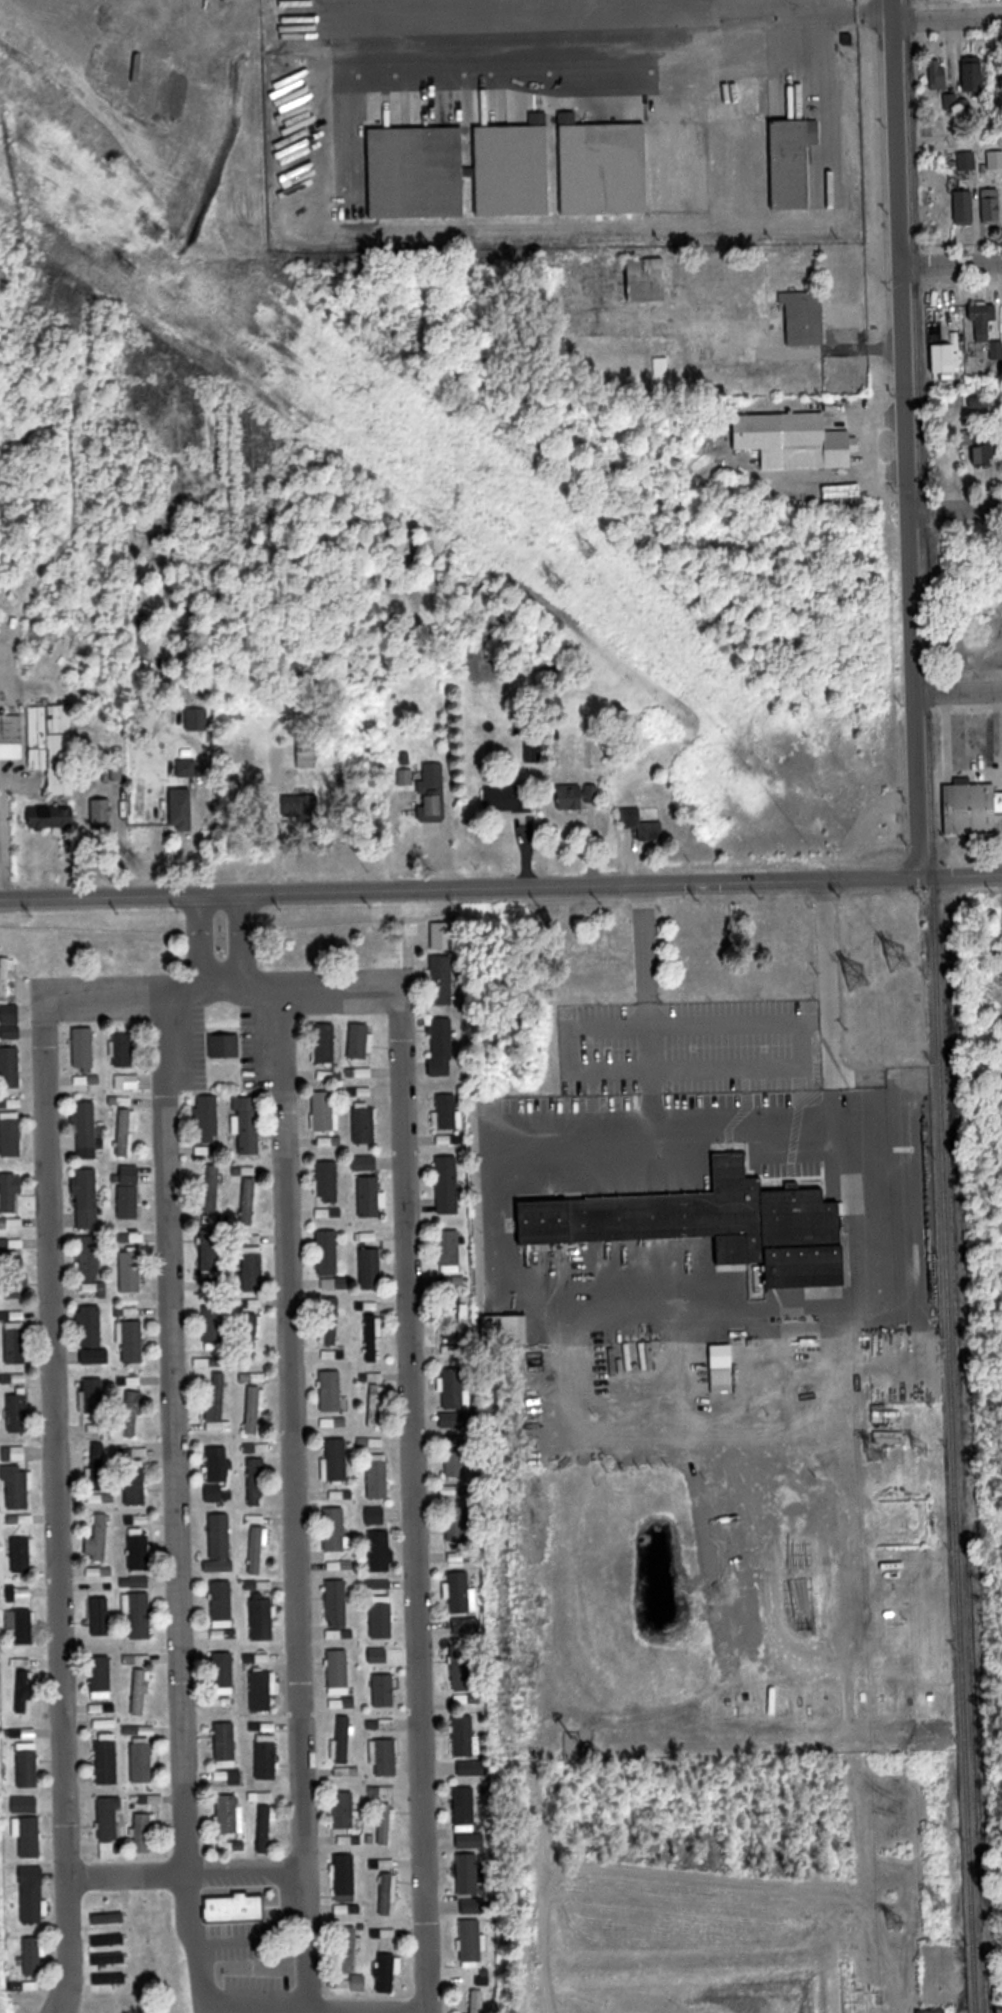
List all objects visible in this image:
road: (334, 8)
road: (771, 10)
road: (947, 17)
road: (522, 25)
building: (939, 75)
building: (973, 78)
road: (821, 114)
building: (794, 164)
building: (604, 168)
building: (459, 171)
building: (993, 206)
building: (964, 207)
power tower: (158, 235)
railway: (914, 255)
road: (950, 263)
power tower: (128, 265)
building: (650, 279)
building: (805, 318)
building: (984, 320)
building: (996, 349)
building: (948, 355)
building: (661, 366)
building: (791, 438)
road: (906, 438)
building: (980, 447)
road: (955, 509)
power tower: (592, 552)
power tower: (559, 580)
road: (958, 694)
building: (12, 736)
building: (51, 744)
building: (308, 751)
building: (405, 776)
building: (434, 789)
building: (575, 795)
building: (512, 798)
building: (298, 807)
building: (183, 808)
building: (972, 808)
building: (103, 814)
building: (52, 817)
building: (642, 824)
road: (501, 887)
building: (440, 941)
road: (640, 944)
power tower: (901, 955)
road: (824, 956)
power tower: (858, 972)
building: (442, 980)
building: (9, 991)
road: (719, 1025)
building: (11, 1032)
building: (359, 1039)
building: (325, 1041)
building: (224, 1043)
building: (84, 1046)
building: (442, 1047)
building: (124, 1048)
building: (11, 1067)
road: (719, 1069)
building: (127, 1081)
building: (447, 1109)
building: (323, 1110)
building: (207, 1116)
building: (248, 1122)
building: (366, 1123)
building: (86, 1124)
building: (126, 1132)
building: (11, 1134)
road: (761, 1137)
building: (365, 1163)
building: (328, 1178)
building: (448, 1183)
building: (213, 1187)
building: (10, 1191)
building: (370, 1193)
building: (88, 1197)
building: (249, 1200)
building: (126, 1201)
building: (716, 1225)
building: (366, 1237)
building: (327, 1248)
building: (451, 1248)
building: (211, 1251)
building: (90, 1256)
railway: (948, 1262)
building: (370, 1267)
building: (130, 1269)
building: (251, 1269)
building: (14, 1274)
building: (334, 1284)
building: (371, 1307)
building: (333, 1320)
building: (214, 1324)
building: (93, 1327)
building: (454, 1328)
building: (505, 1330)
building: (251, 1334)
building: (372, 1337)
building: (16, 1339)
building: (132, 1340)
building: (723, 1369)
building: (252, 1377)
road: (407, 1380)
building: (134, 1381)
road: (52, 1386)
building: (454, 1387)
building: (332, 1389)
building: (94, 1393)
building: (218, 1397)
building: (375, 1404)
building: (253, 1407)
building: (19, 1413)
building: (132, 1414)
building: (454, 1420)
road: (175, 1433)
power tower: (926, 1446)
building: (261, 1448)
power tower: (882, 1450)
building: (140, 1452)
building: (14, 1454)
building: (455, 1454)
building: (335, 1461)
building: (217, 1463)
building: (97, 1464)
building: (380, 1473)
building: (256, 1481)
building: (136, 1483)
building: (18, 1487)
road: (292, 1498)
building: (376, 1515)
building: (459, 1523)
building: (335, 1528)
building: (217, 1533)
building: (99, 1535)
building: (257, 1547)
building: (378, 1548)
building: (138, 1549)
building: (20, 1554)
building: (460, 1556)
building: (219, 1566)
building: (20, 1592)
building: (458, 1592)
building: (223, 1603)
building: (338, 1603)
building: (140, 1614)
building: (382, 1617)
building: (262, 1618)
building: (23, 1624)
building: (466, 1625)
building: (135, 1659)
building: (463, 1664)
building: (338, 1669)
building: (223, 1673)
building: (99, 1677)
building: (264, 1688)
building: (141, 1689)
building: (385, 1690)
building: (23, 1691)
building: (383, 1724)
building: (463, 1733)
building: (344, 1739)
building: (225, 1741)
building: (573, 1748)
building: (268, 1755)
building: (388, 1758)
building: (145, 1760)
building: (106, 1761)
building: (28, 1764)
building: (471, 1767)
building: (347, 1770)
building: (230, 1776)
building: (386, 1790)
building: (26, 1804)
building: (344, 1807)
building: (465, 1807)
building: (229, 1811)
building: (110, 1816)
building: (386, 1822)
building: (265, 1828)
building: (144, 1832)
building: (31, 1837)
building: (389, 1863)
building: (468, 1870)
road: (185, 1872)
building: (345, 1874)
building: (387, 1891)
building: (32, 1894)
power tower: (943, 1901)
building: (473, 1906)
building: (236, 1909)
power tower: (898, 1920)
road: (251, 1936)
building: (471, 1940)
building: (350, 1950)
building: (35, 1955)
building: (388, 1972)
building: (477, 2003)
road: (249, 2006)

